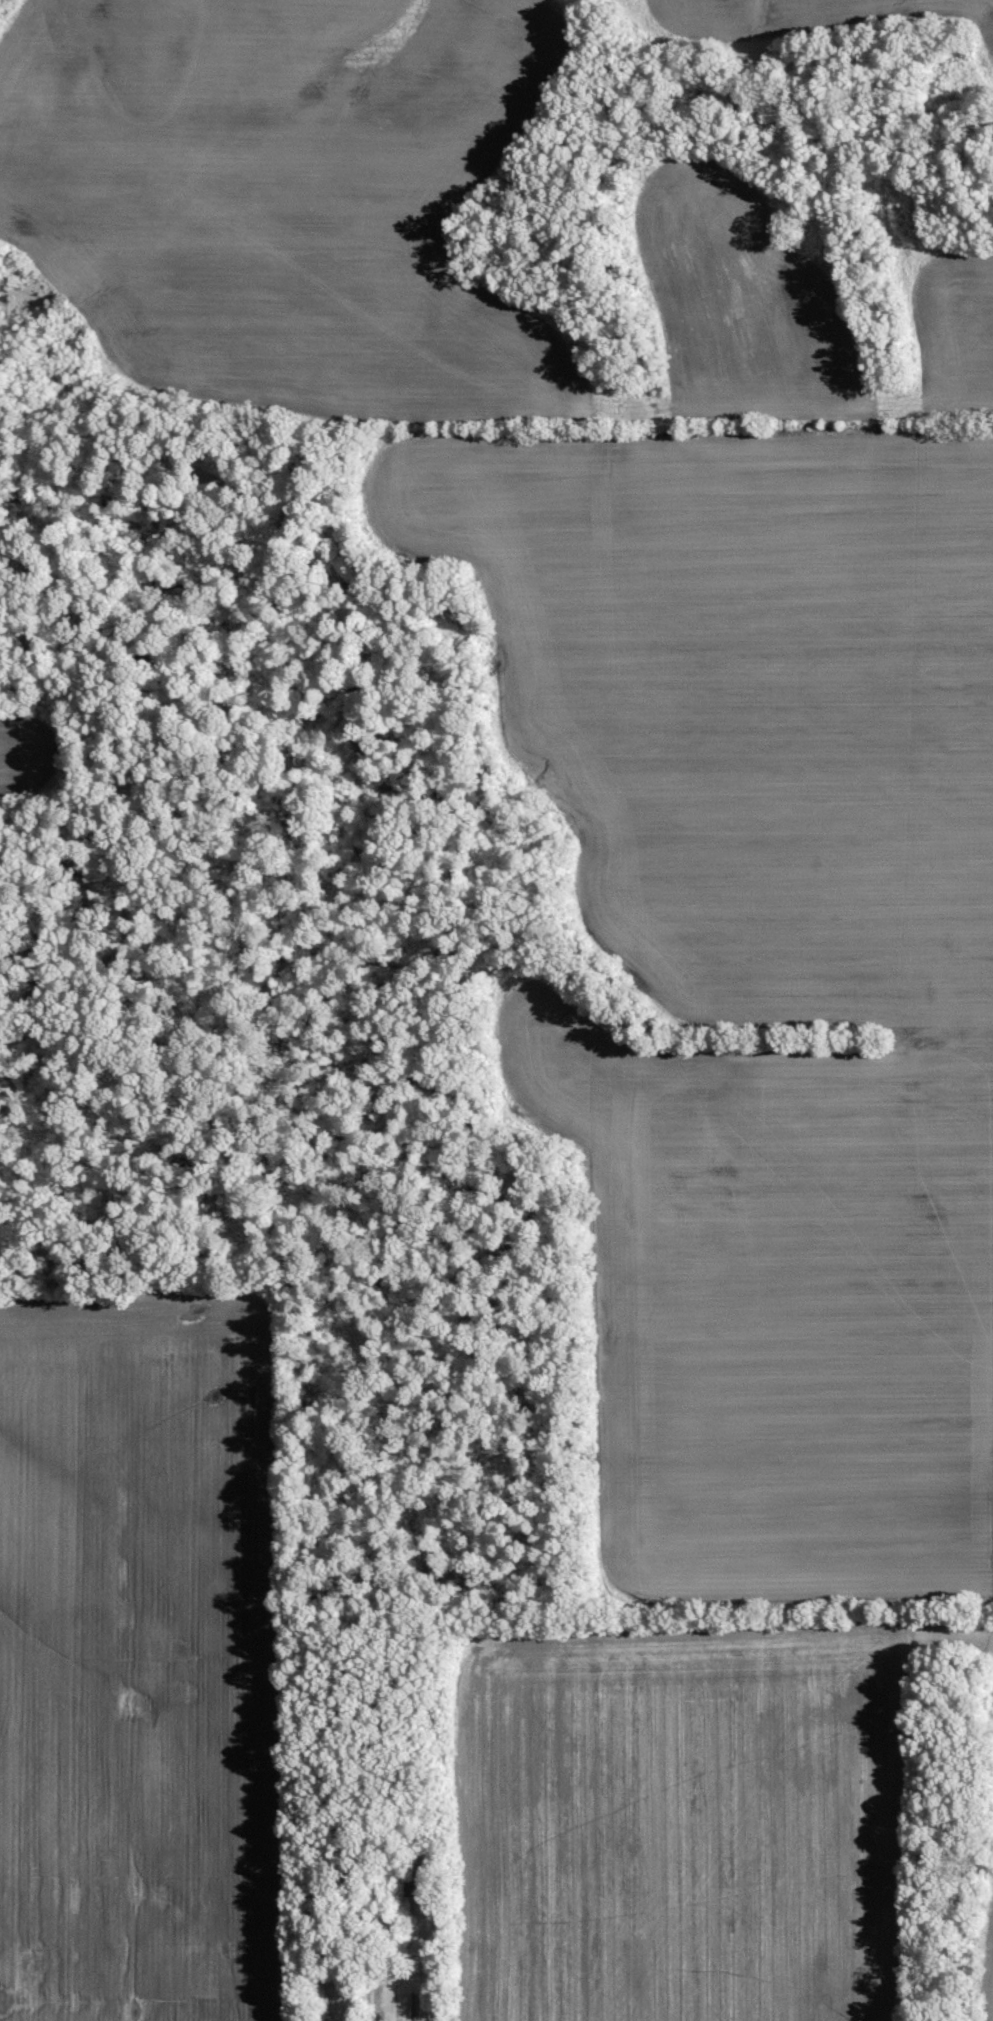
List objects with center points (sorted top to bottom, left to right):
building: (412, 1889)

